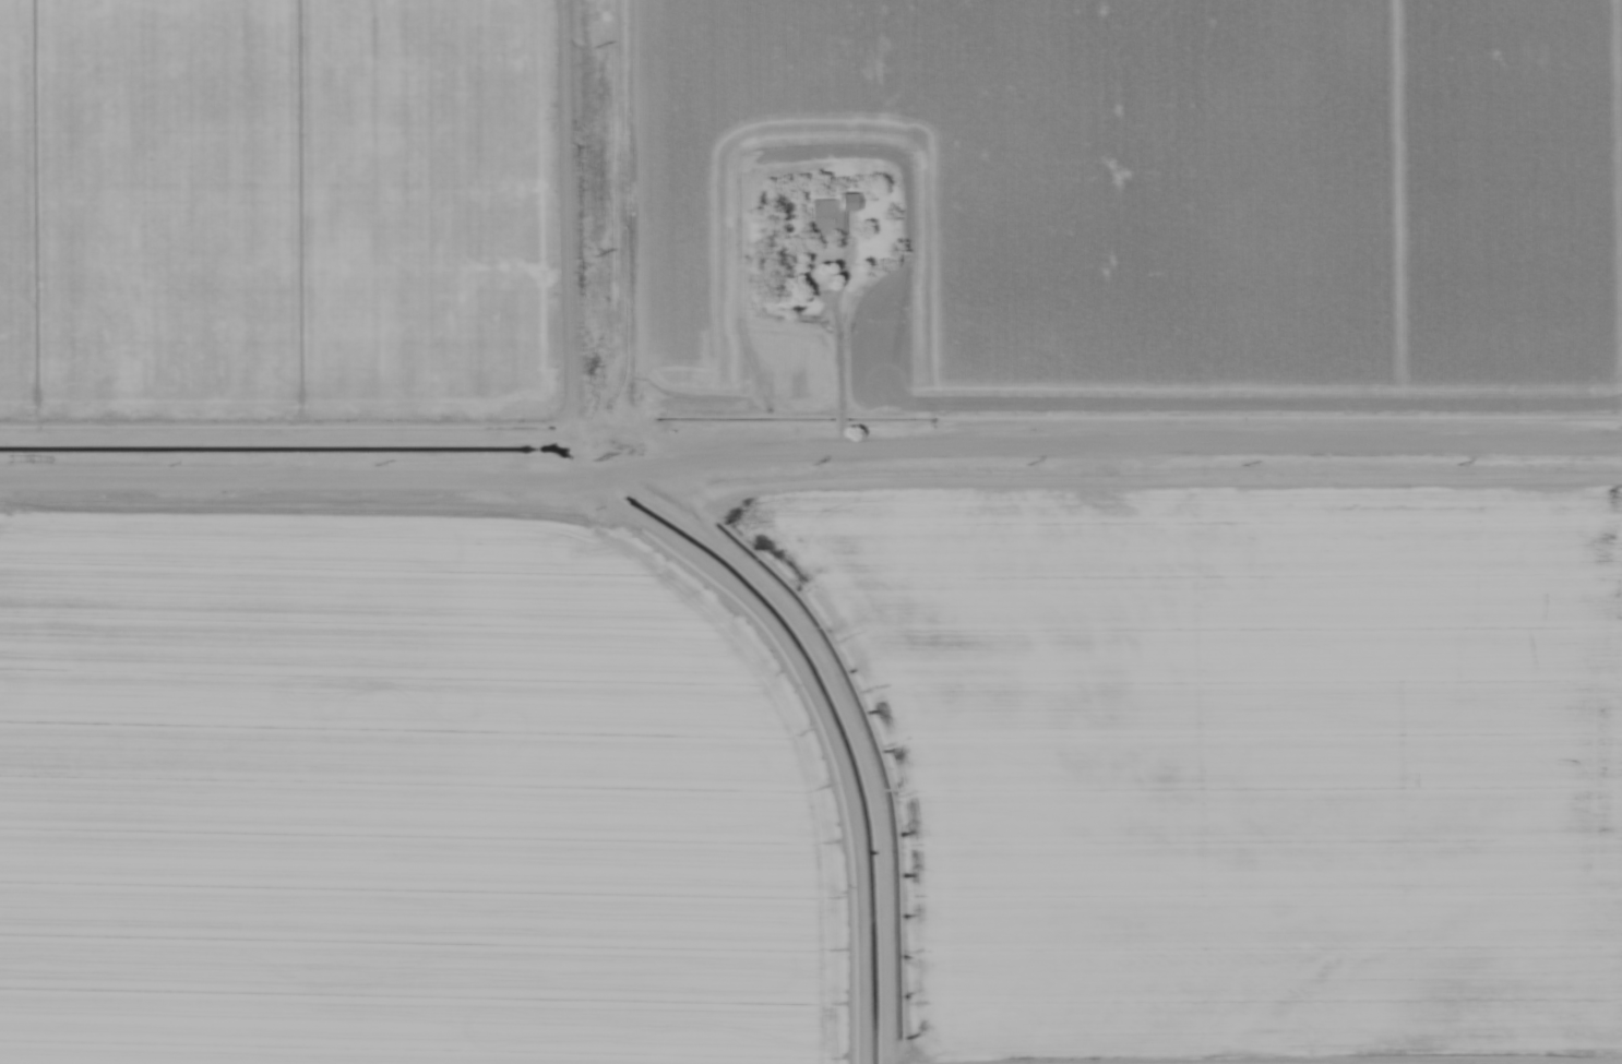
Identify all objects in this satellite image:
crop: (1145, 204)
crop: (282, 211)
building: (828, 213)
road: (811, 456)
crop: (1239, 761)
crop: (399, 801)
building: (195, 921)

